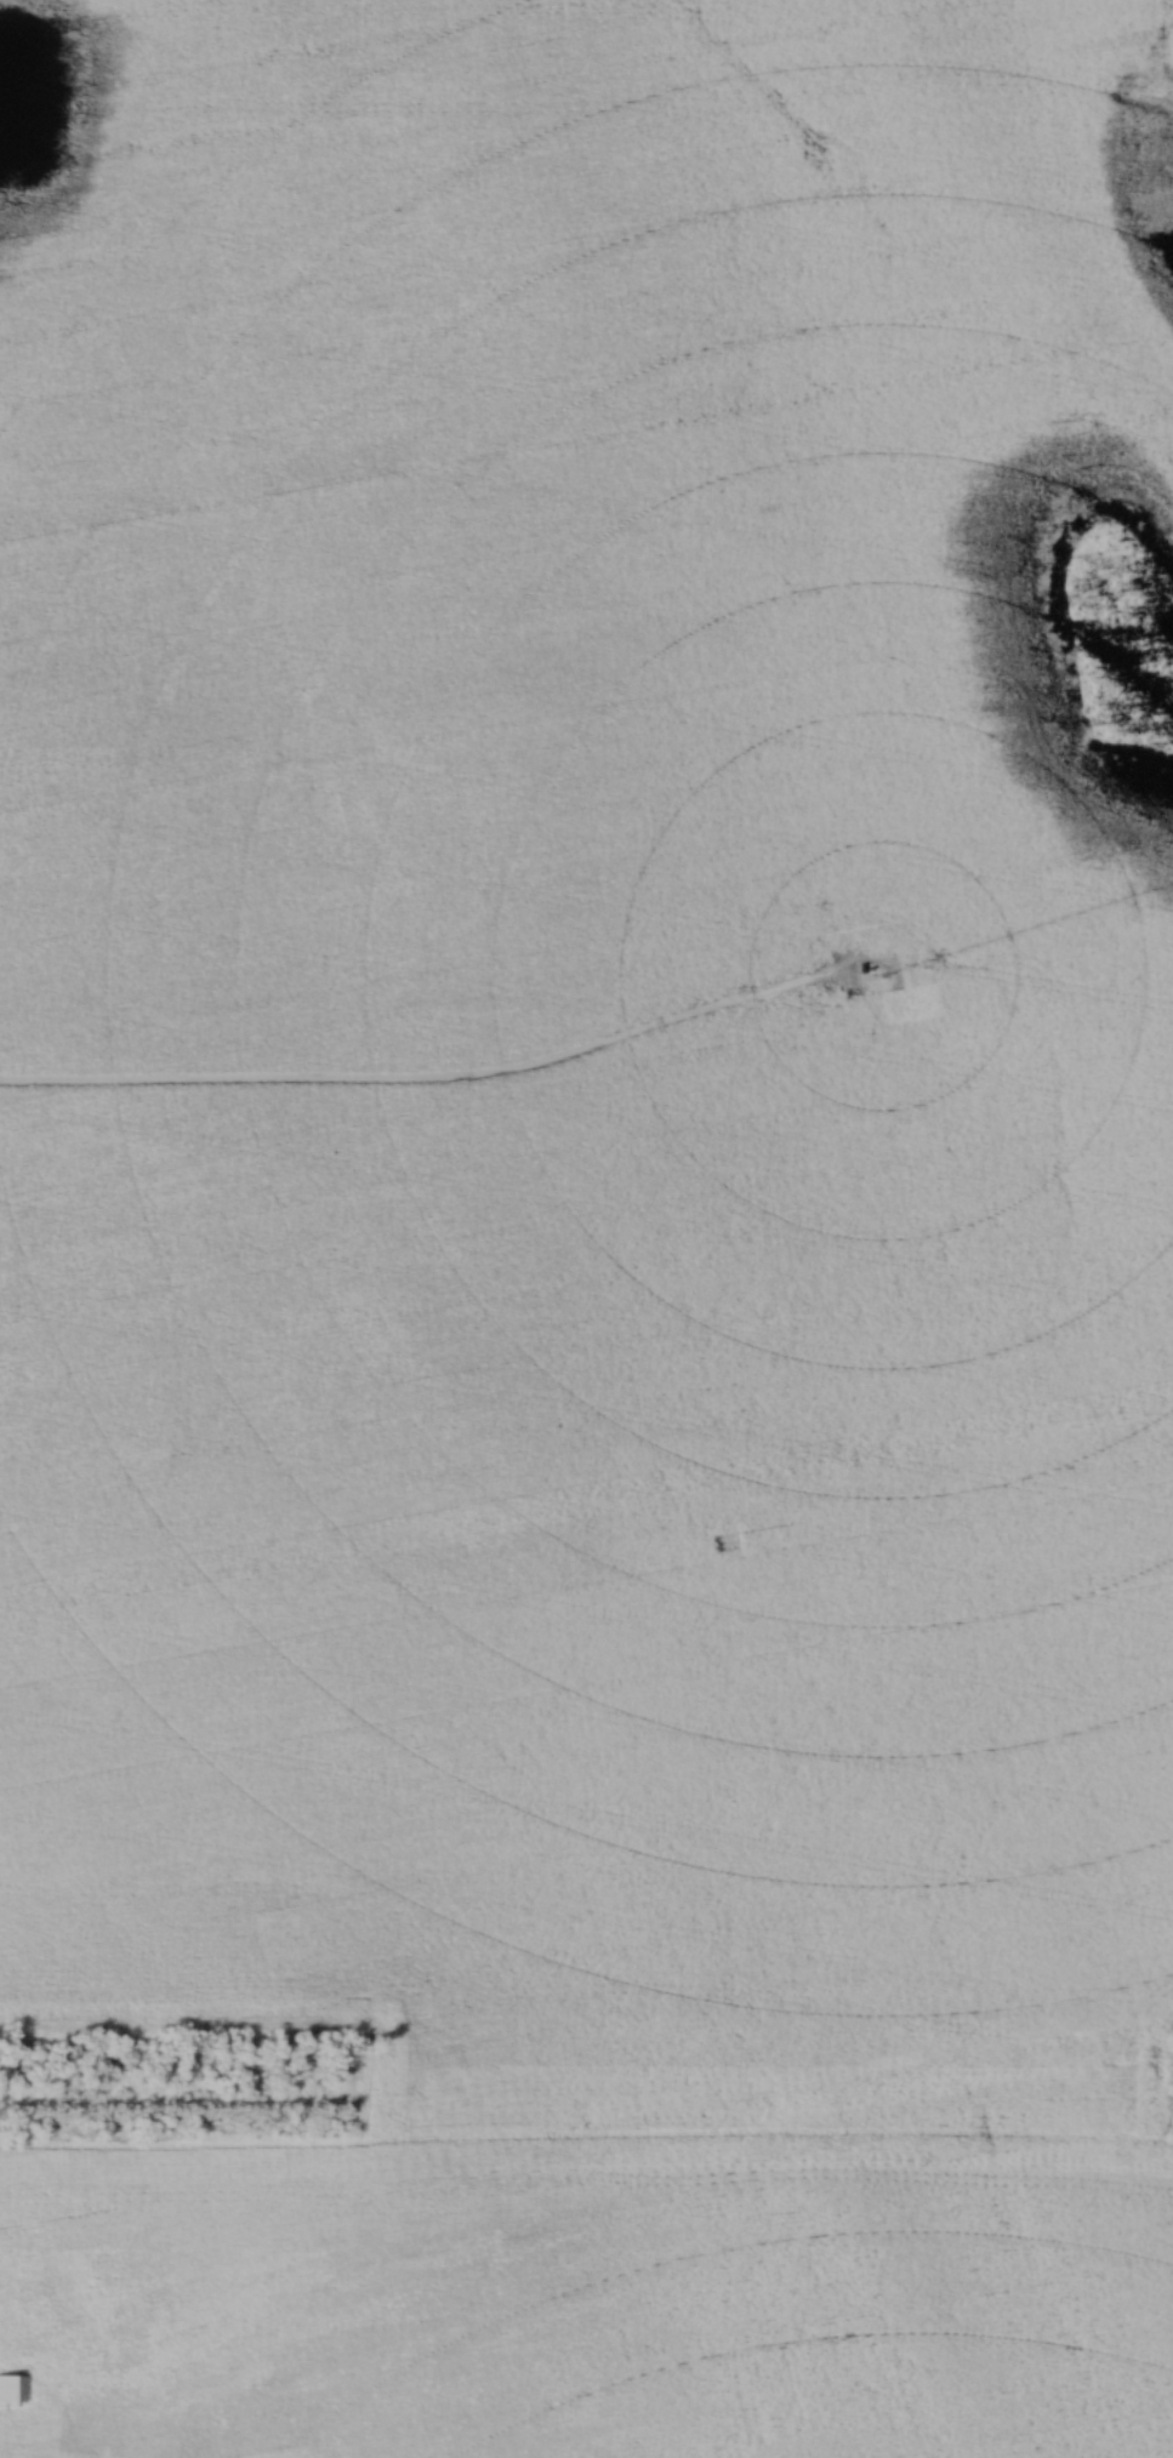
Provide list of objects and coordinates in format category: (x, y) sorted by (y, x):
building: (15, 2390)

